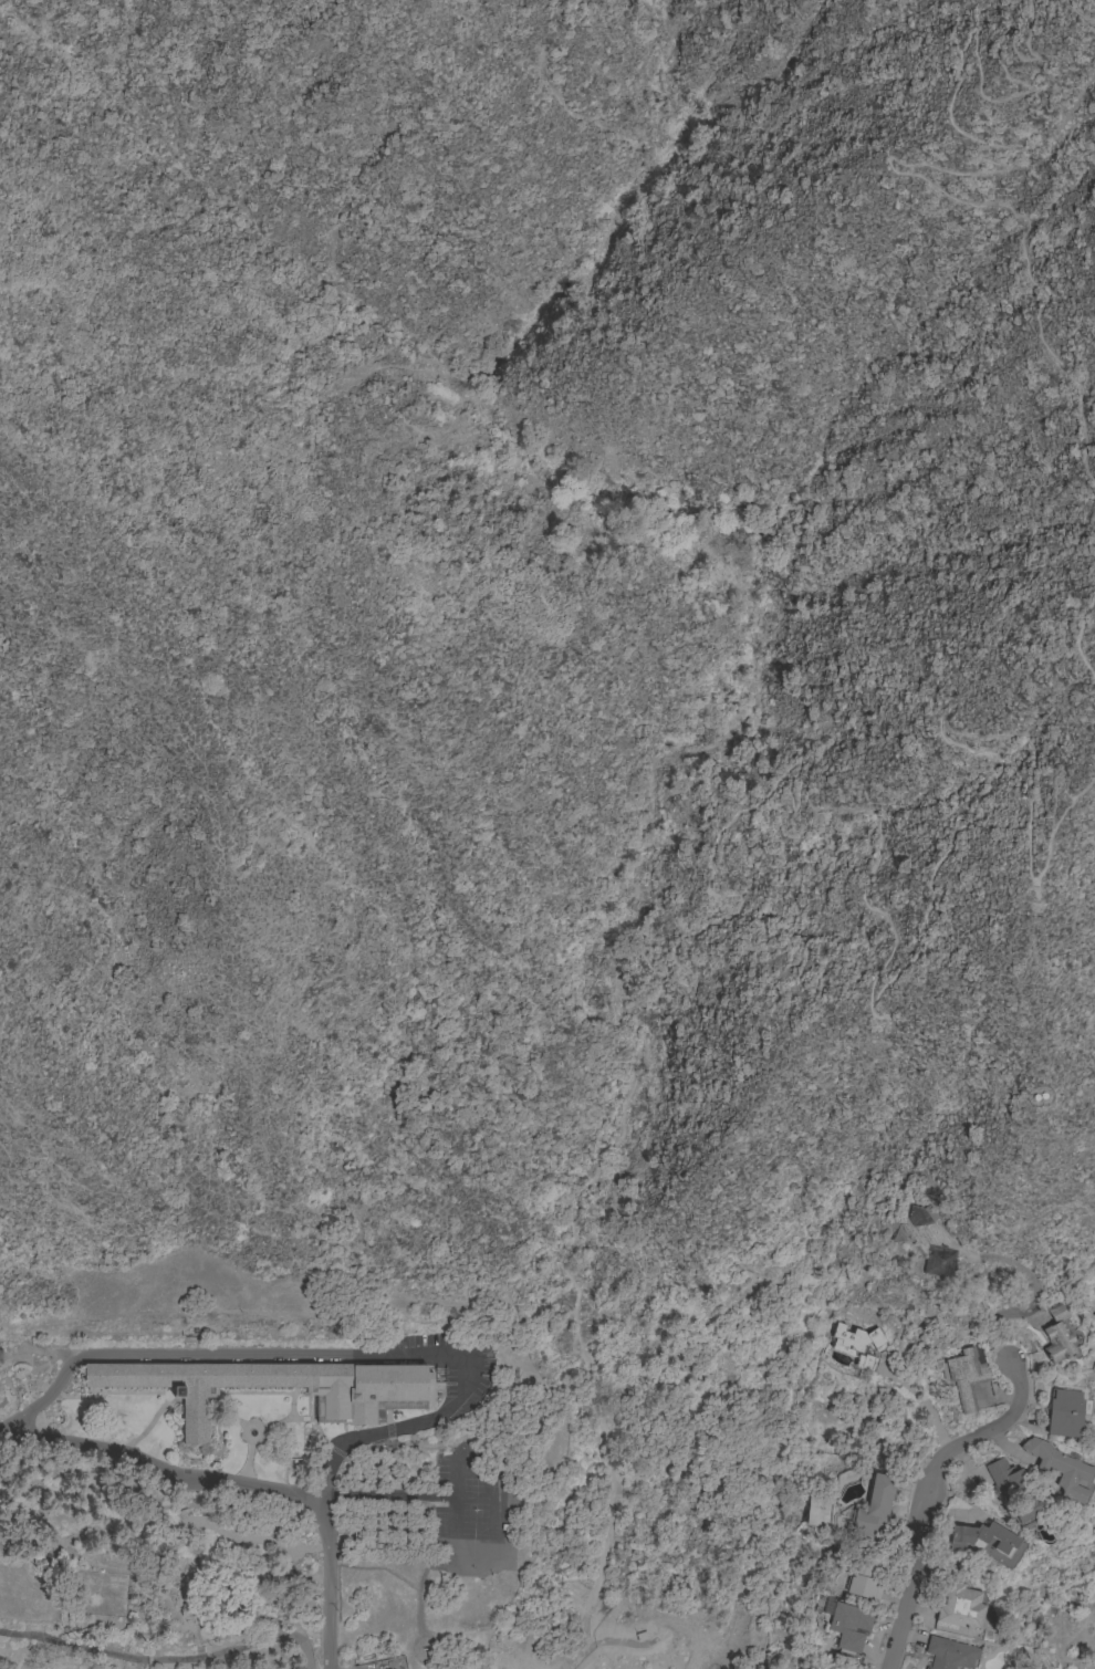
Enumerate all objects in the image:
road: (1091, 4)
road: (1076, 14)
road: (1023, 149)
road: (1080, 415)
road: (1078, 636)
road: (1054, 787)
road: (618, 919)
road: (885, 956)
building: (921, 1216)
building: (940, 1261)
road: (1032, 1304)
building: (1056, 1337)
building: (858, 1344)
road: (303, 1356)
building: (967, 1377)
road: (924, 1401)
building: (375, 1404)
building: (1064, 1414)
road: (163, 1469)
building: (1061, 1470)
road: (924, 1492)
building: (1015, 1493)
building: (874, 1508)
building: (981, 1538)
road: (324, 1554)
building: (863, 1578)
building: (959, 1605)
building: (848, 1626)
road: (602, 1644)
building: (949, 1654)
road: (164, 1658)
building: (820, 1668)
building: (823, 1668)

